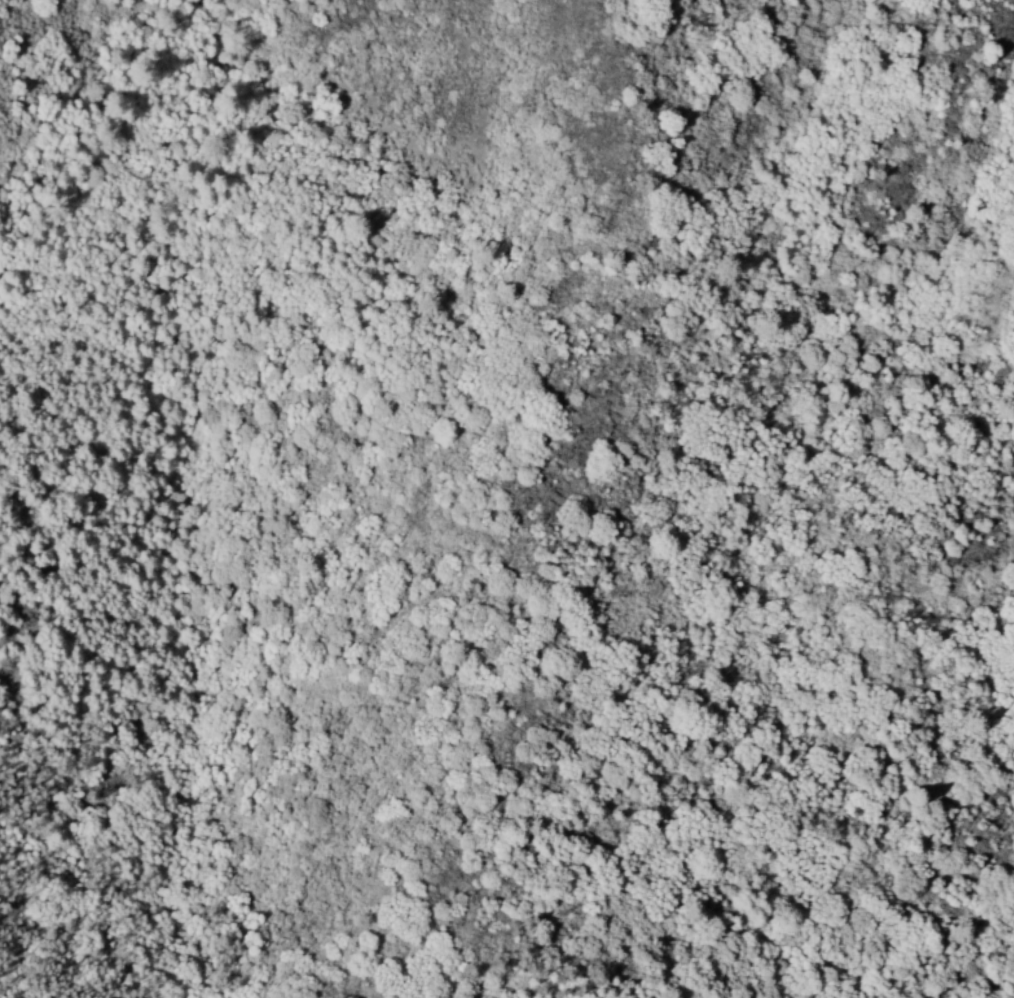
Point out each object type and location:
road: (98, 137)

